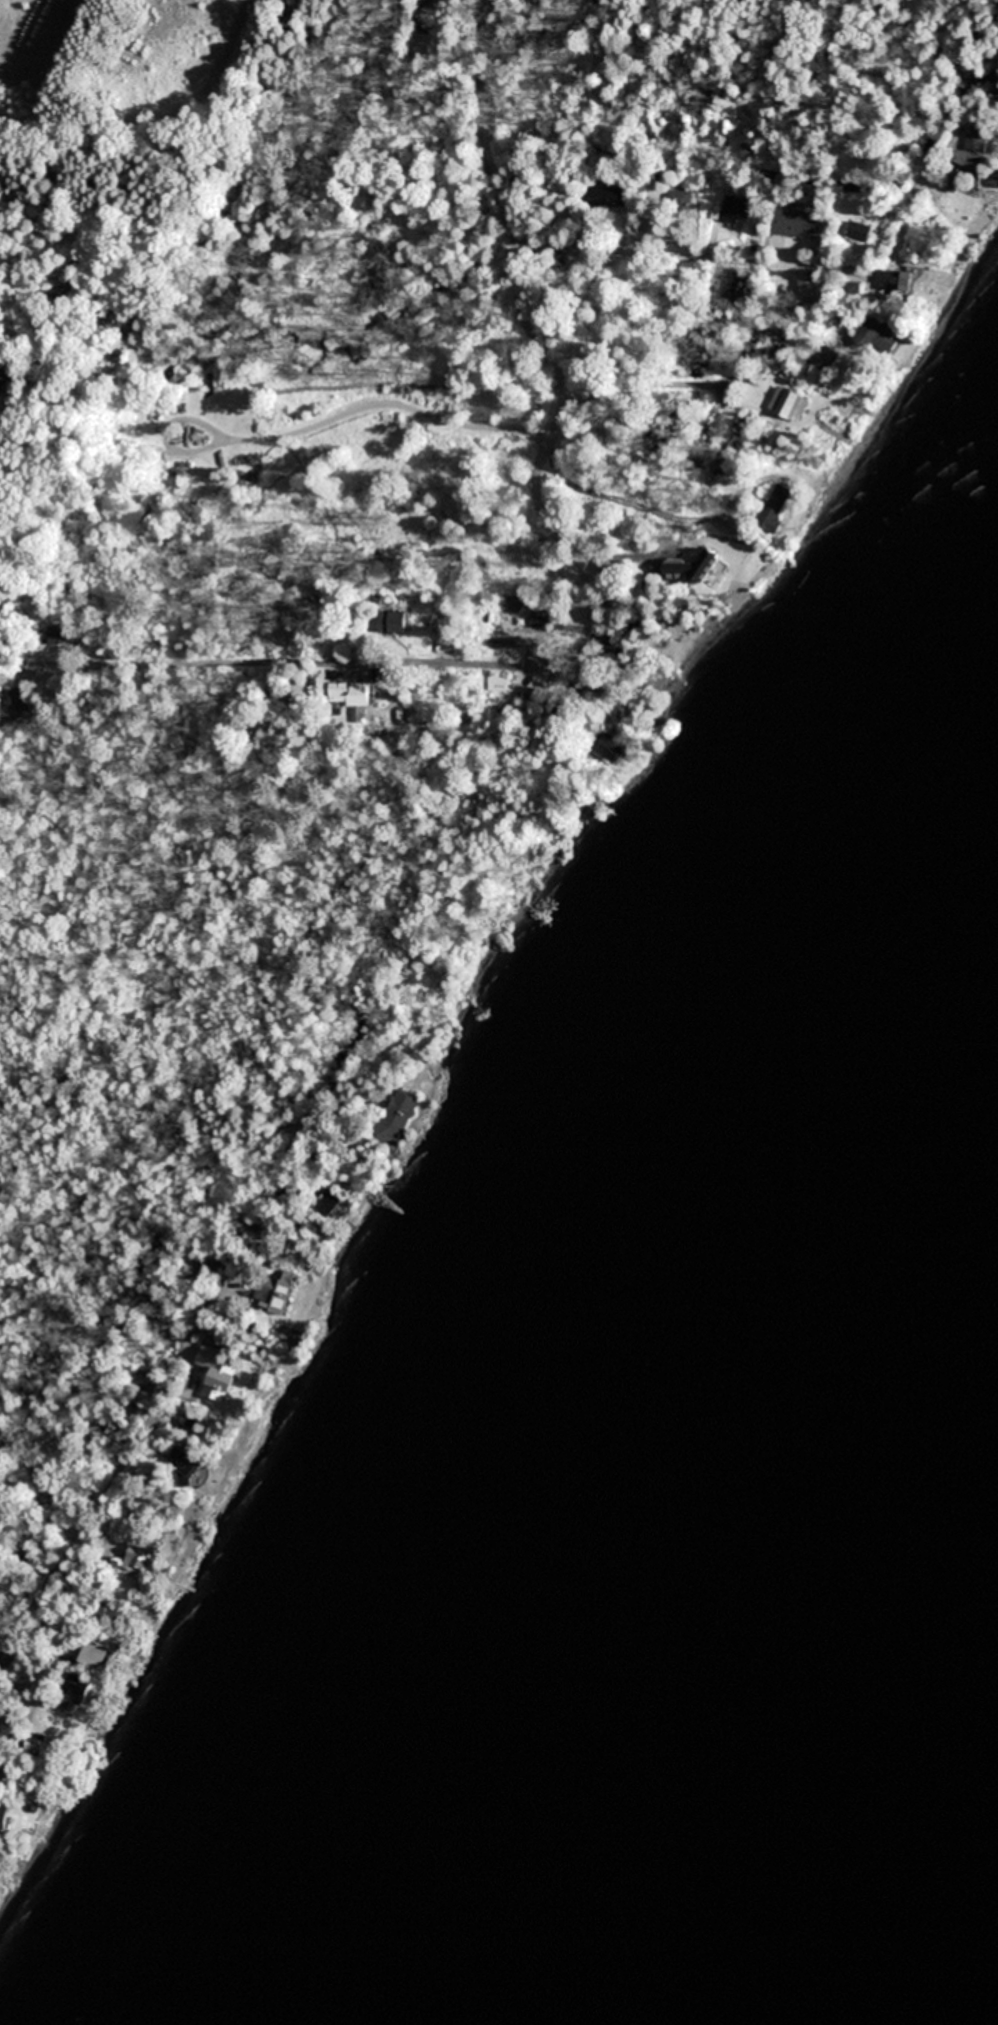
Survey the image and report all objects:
road: (482, 126)
building: (606, 195)
building: (679, 200)
building: (734, 210)
road: (747, 261)
building: (880, 337)
building: (5, 368)
building: (865, 406)
building: (797, 407)
road: (313, 420)
road: (662, 513)
building: (718, 561)
road: (555, 658)
building: (498, 683)
building: (343, 696)
building: (296, 699)
building: (21, 712)
building: (613, 747)
building: (399, 1116)
building: (329, 1203)
building: (275, 1289)
road: (79, 1319)
building: (220, 1378)
building: (191, 1470)
road: (84, 1525)
building: (143, 1554)
building: (112, 1617)
building: (100, 1652)
building: (78, 1688)
building: (42, 1710)
building: (12, 1772)
building: (7, 1817)

